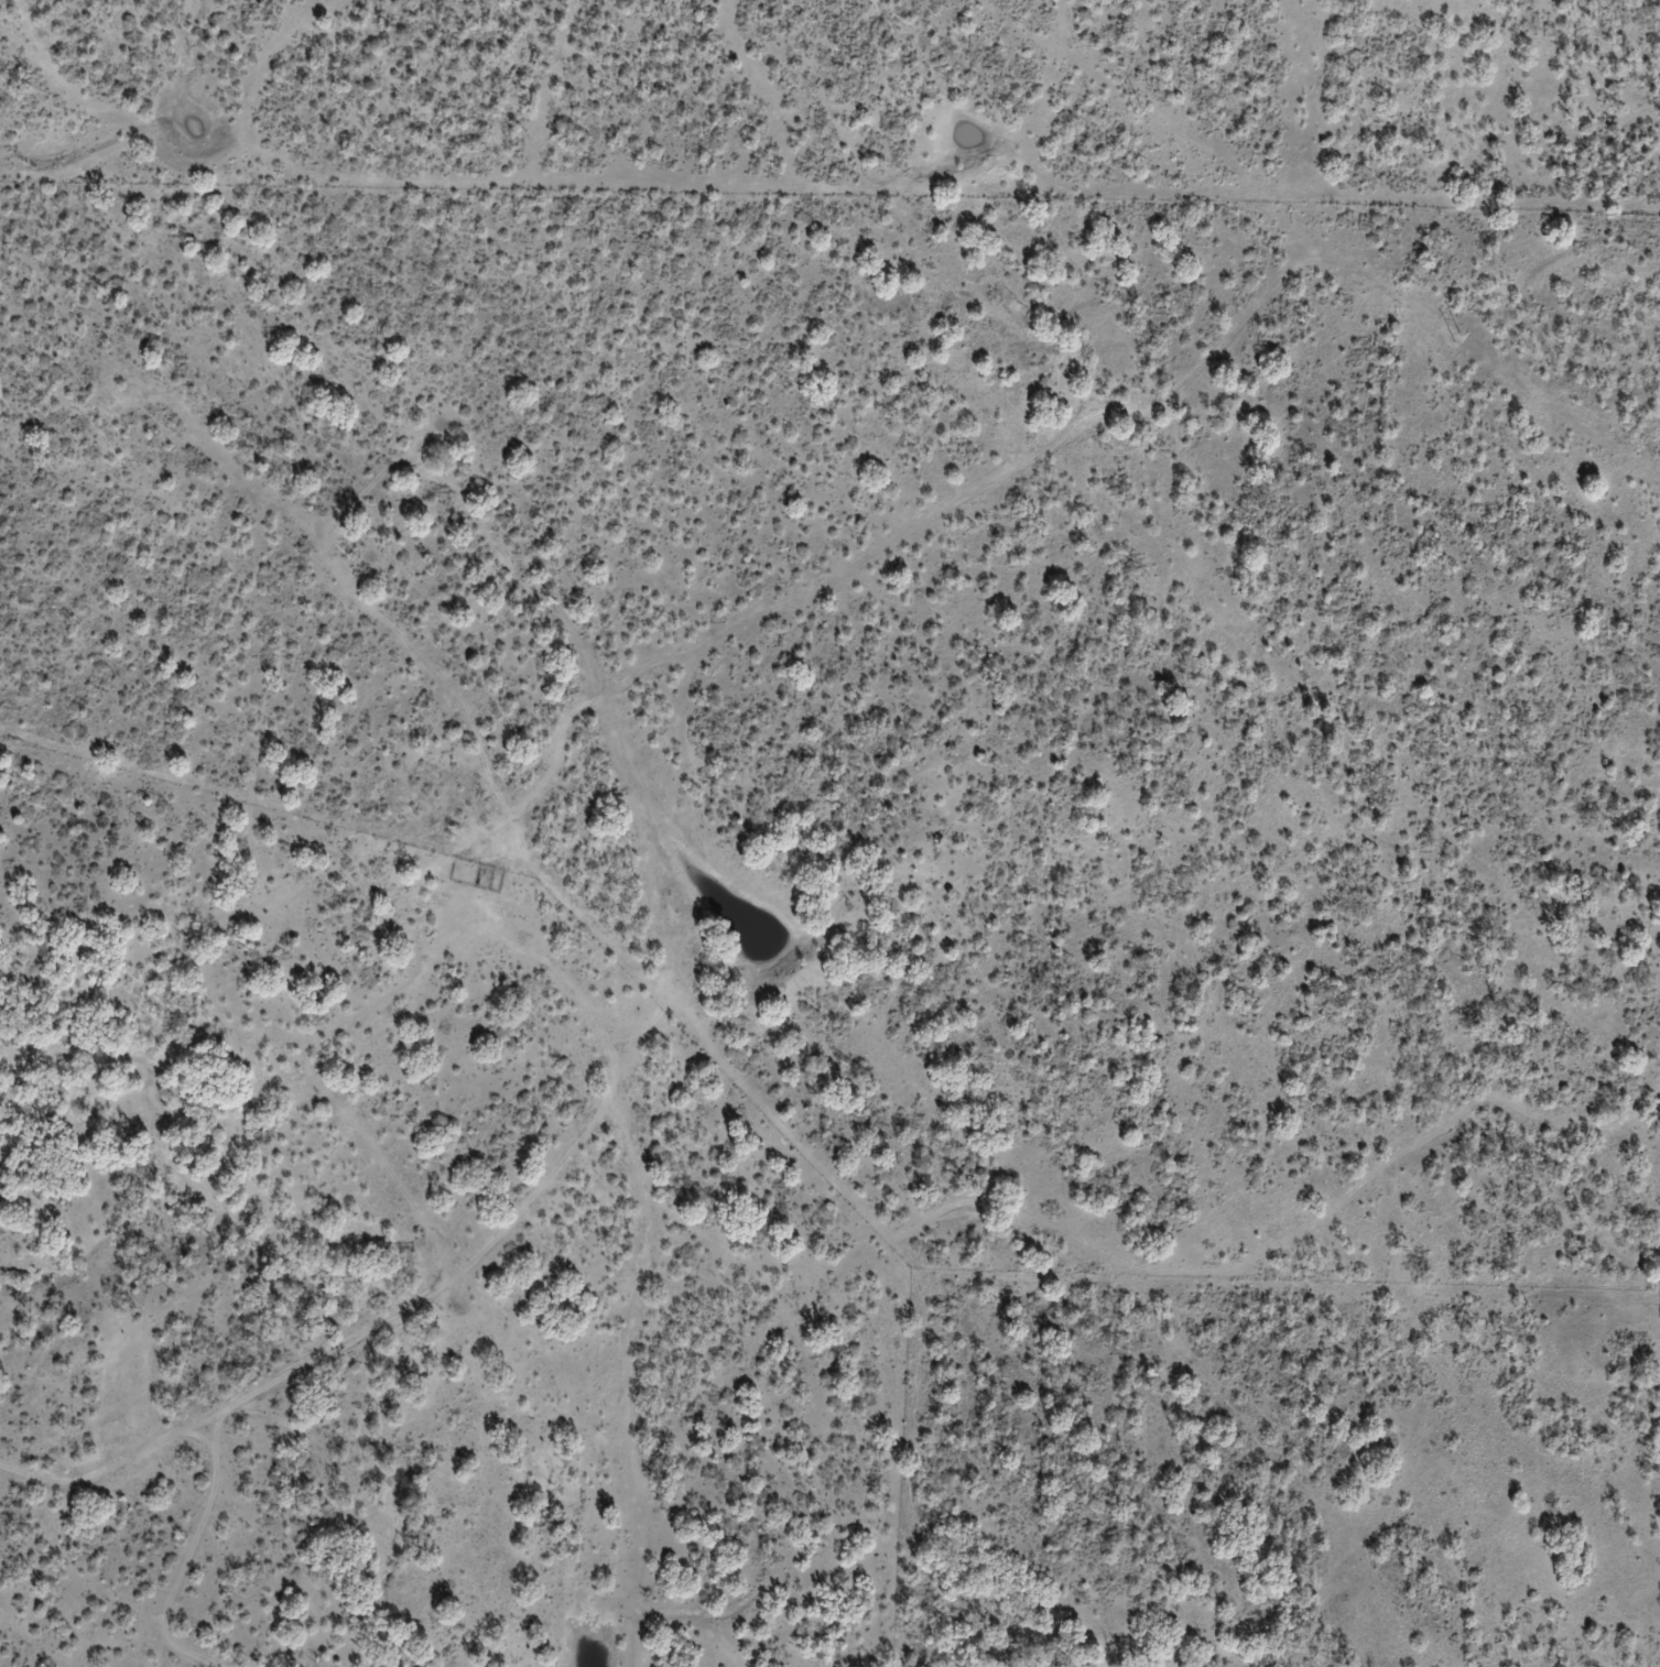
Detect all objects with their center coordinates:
power tower: (1147, 111)
power tower: (1464, 334)
road: (390, 1327)

